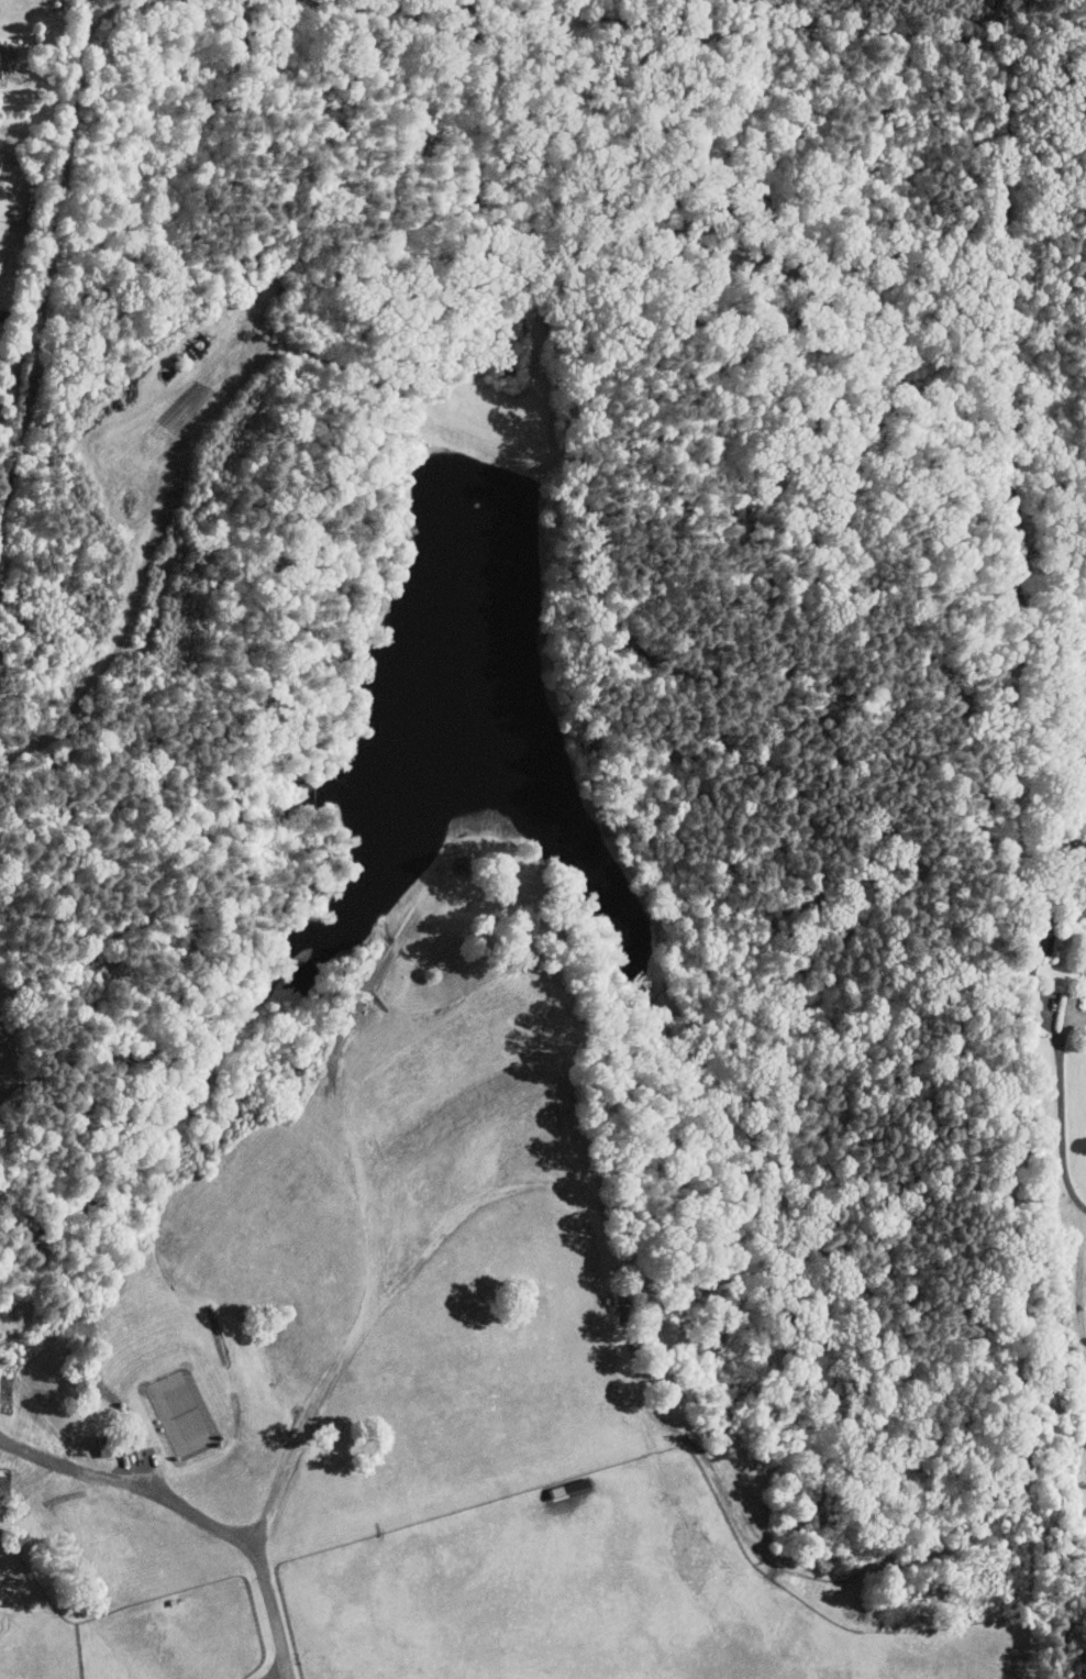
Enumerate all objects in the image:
building: (0, 68)
road: (1085, 765)
road: (1031, 958)
road: (1061, 1108)
road: (273, 1620)
road: (278, 1676)

